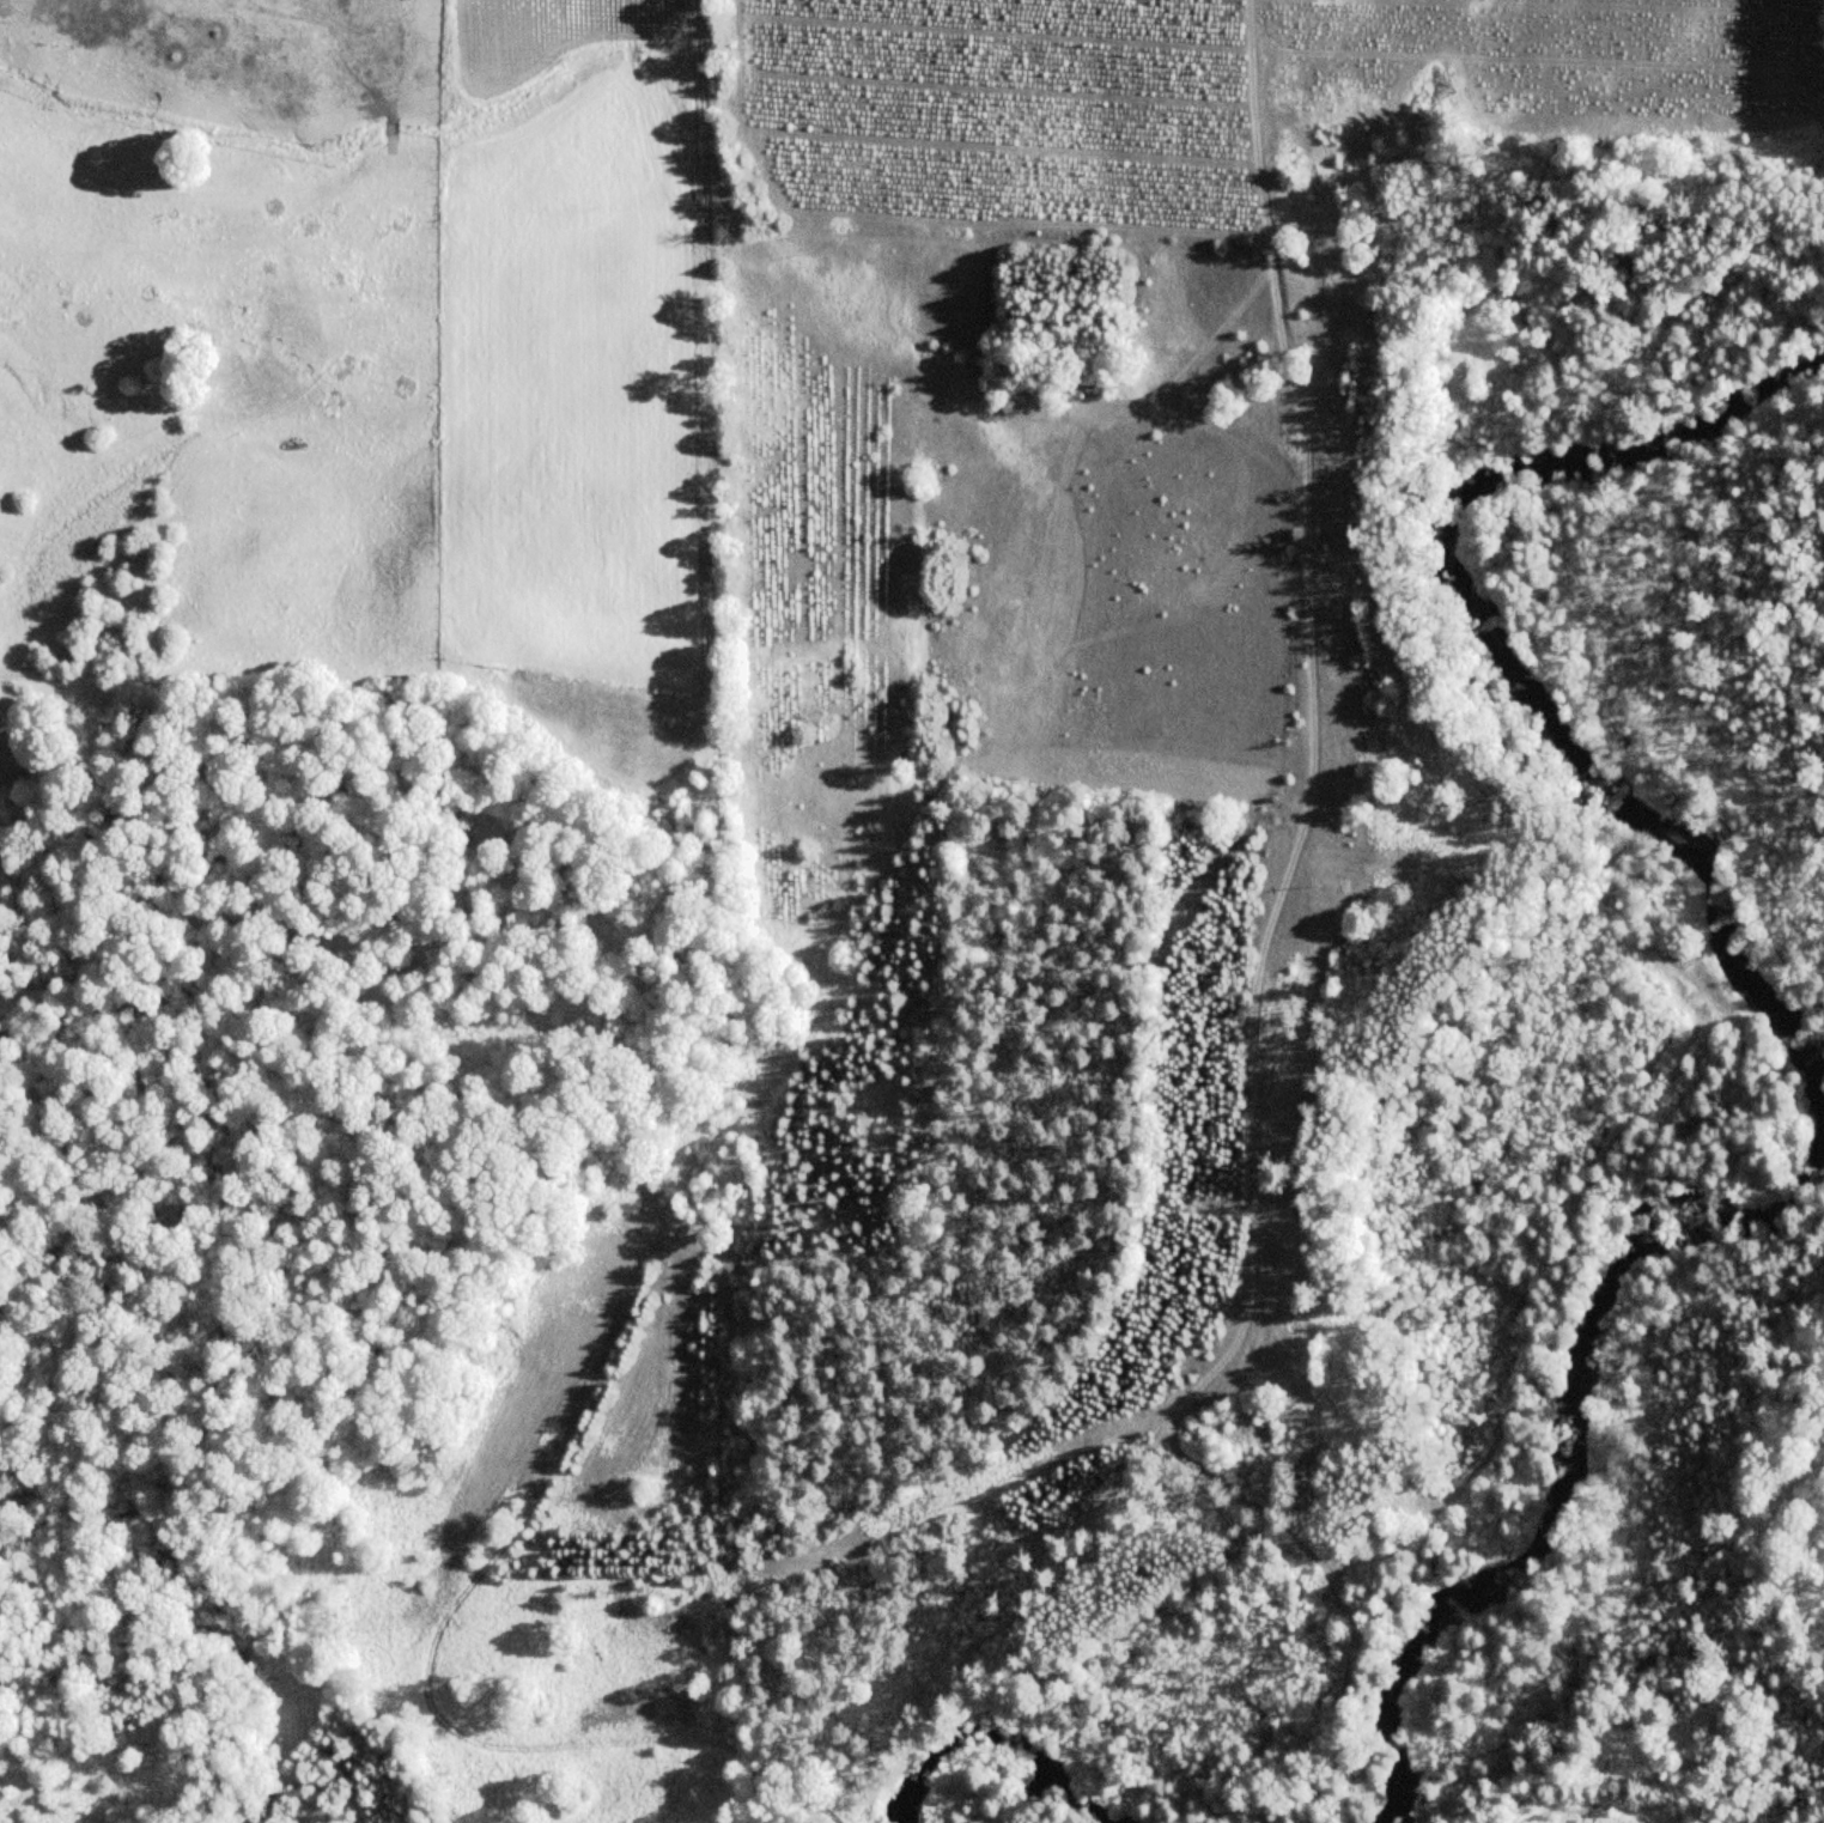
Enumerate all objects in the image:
river: (1774, 1020)
river: (1007, 1743)

